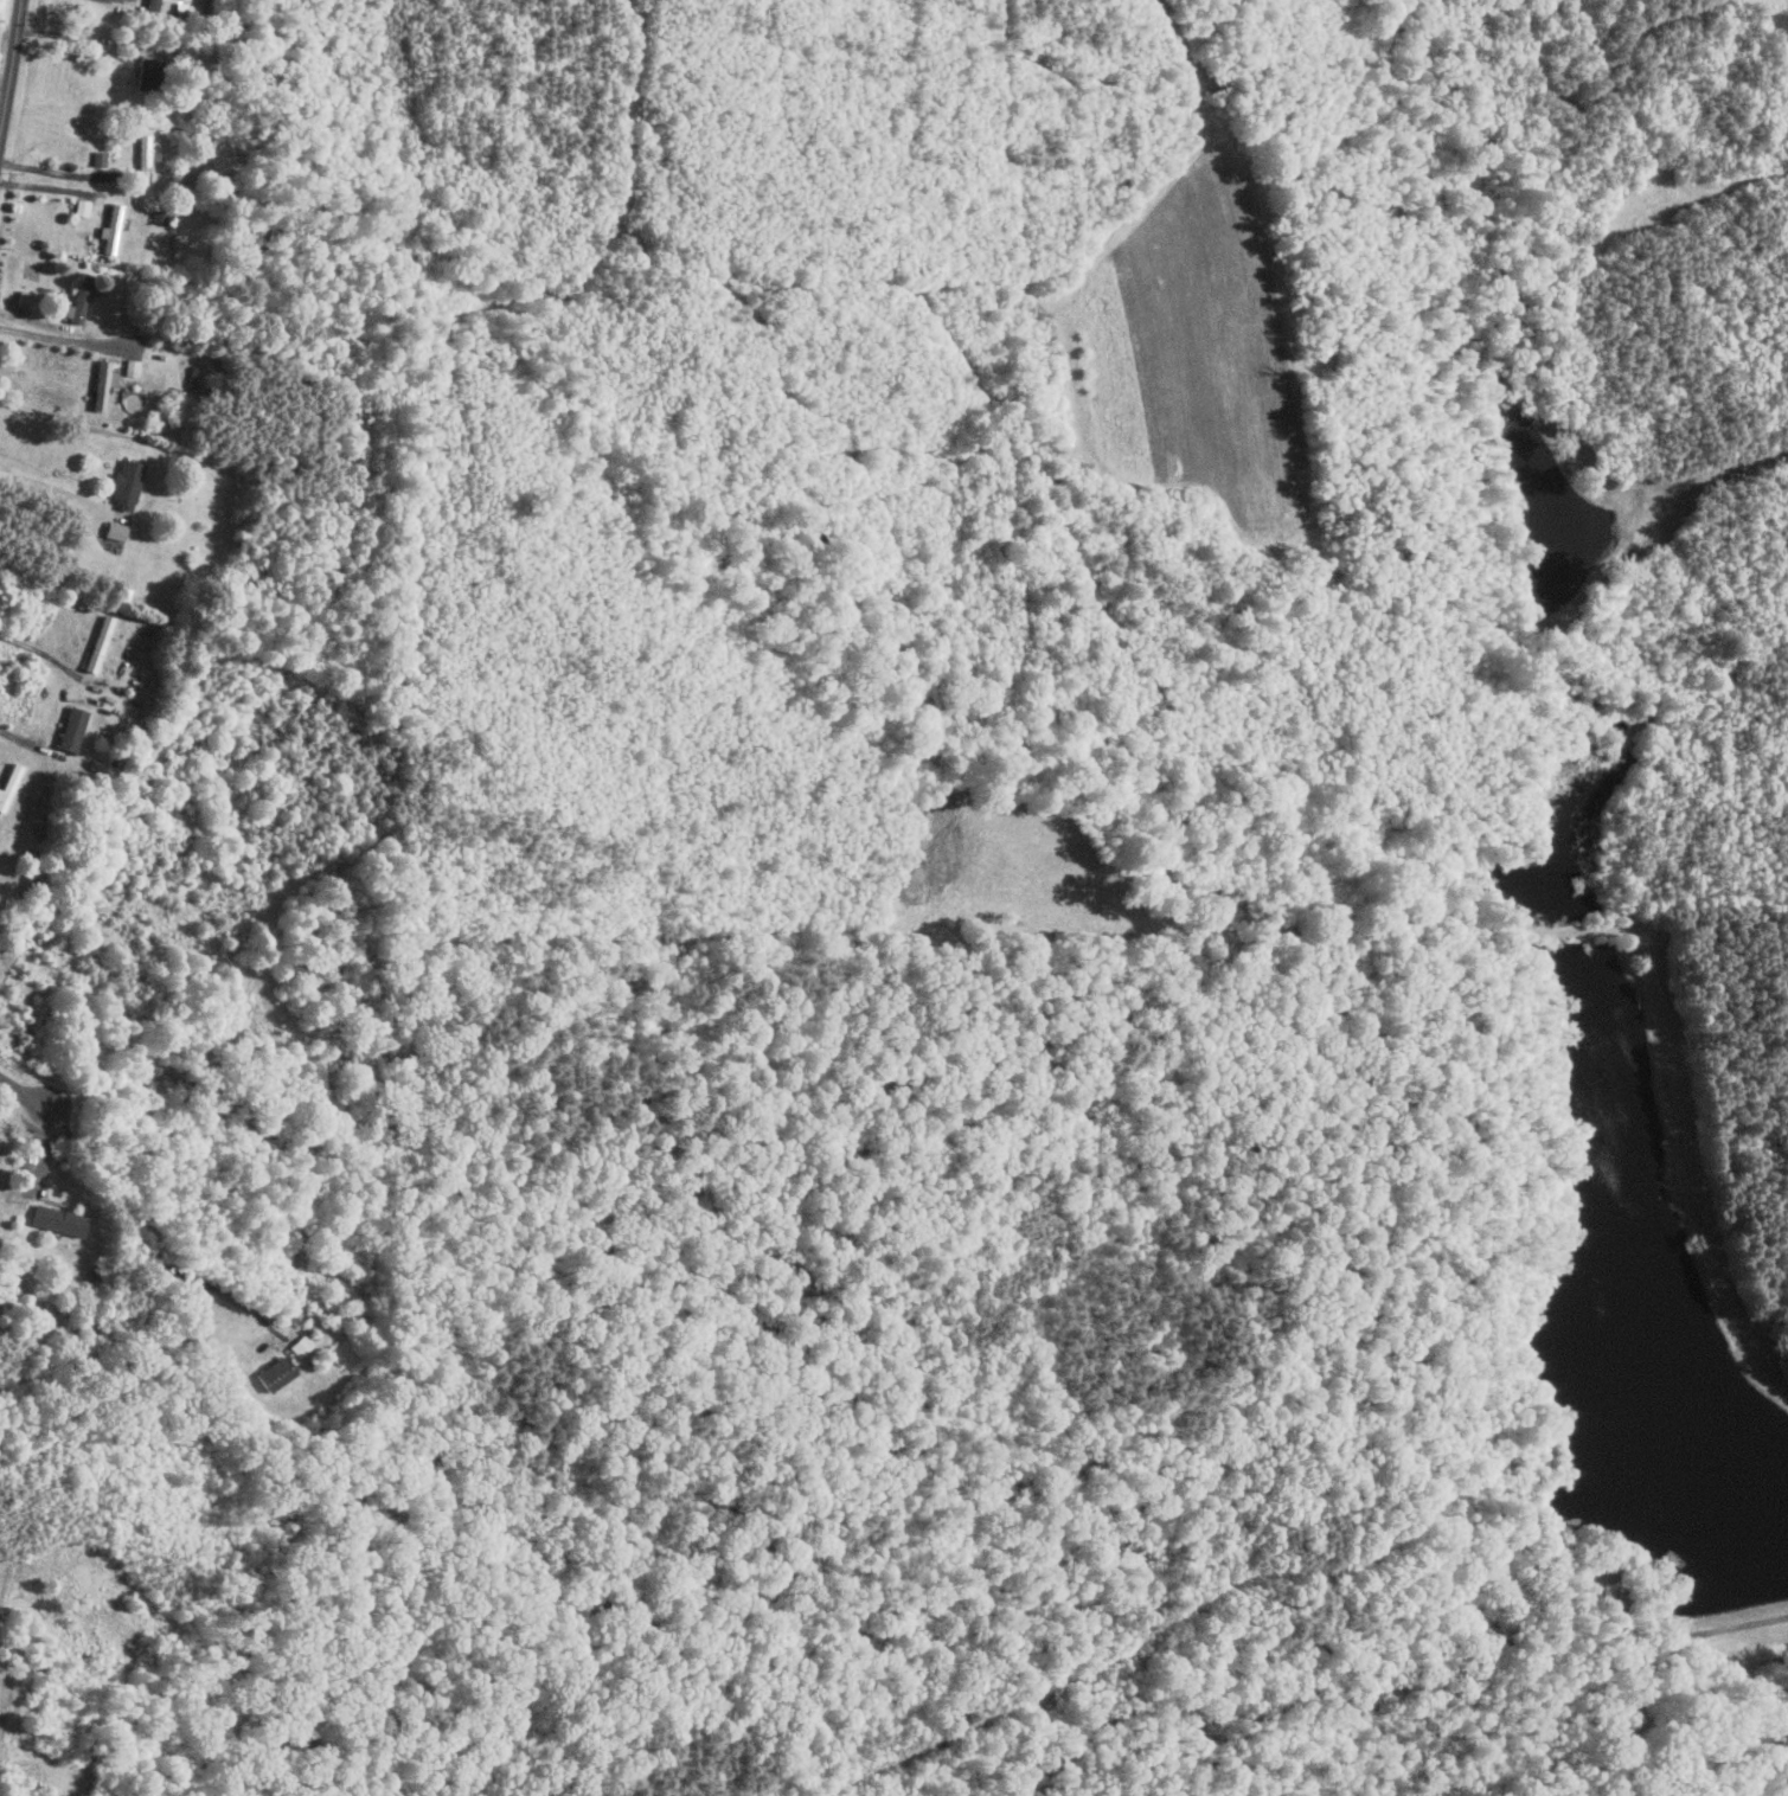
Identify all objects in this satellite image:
building: (152, 4)
road: (83, 37)
road: (12, 68)
building: (145, 158)
building: (98, 159)
road: (64, 174)
building: (81, 207)
building: (110, 229)
building: (24, 299)
building: (78, 299)
road: (59, 338)
building: (103, 383)
building: (126, 482)
road: (46, 488)
building: (115, 530)
building: (97, 642)
road: (47, 656)
building: (71, 729)
road: (20, 737)
road: (25, 1092)
building: (57, 1220)
building: (301, 1345)
building: (275, 1373)

